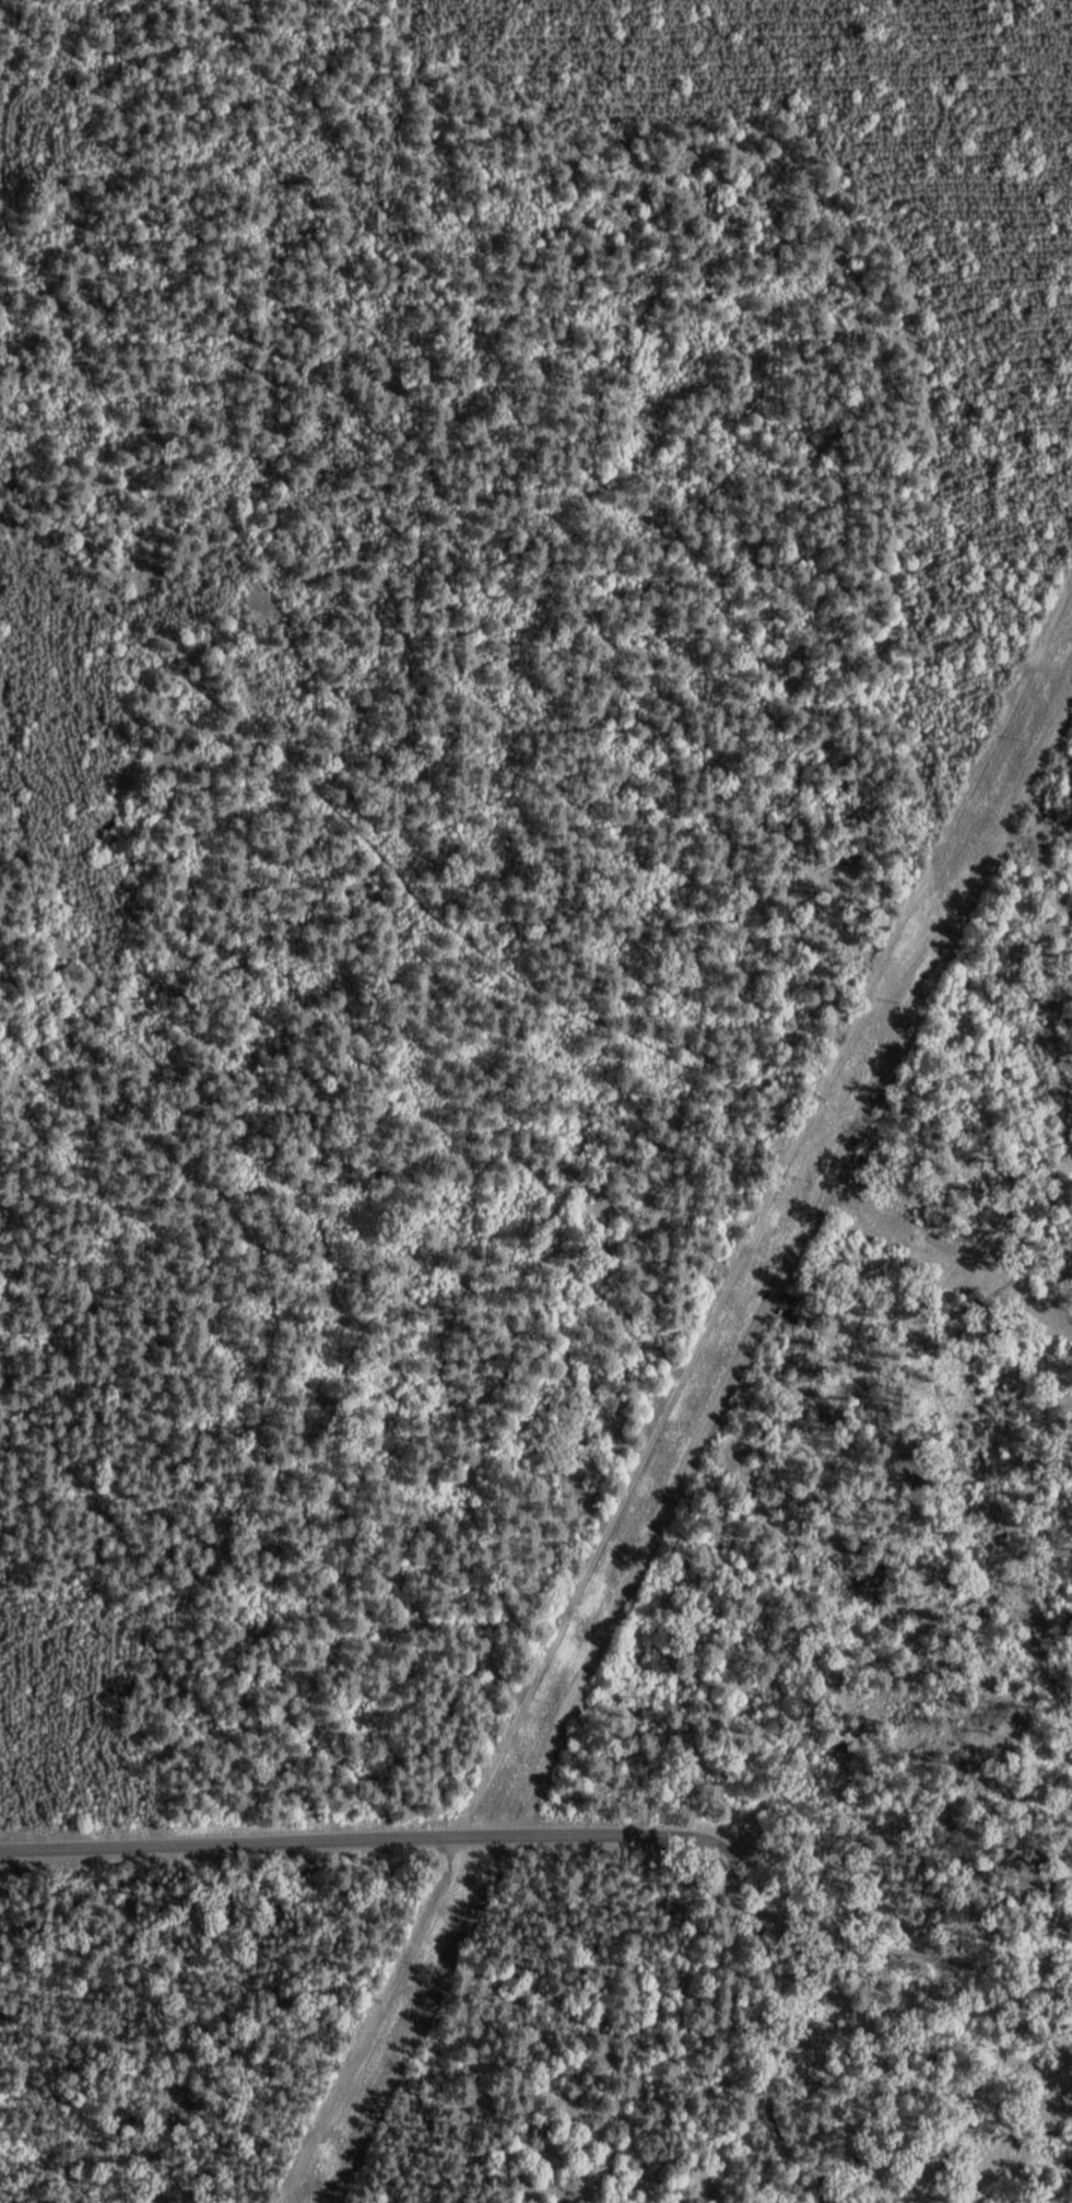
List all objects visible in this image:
road: (785, 1241)
road: (883, 1652)
road: (368, 1832)
road: (910, 1953)
road: (409, 2017)
road: (763, 2062)

